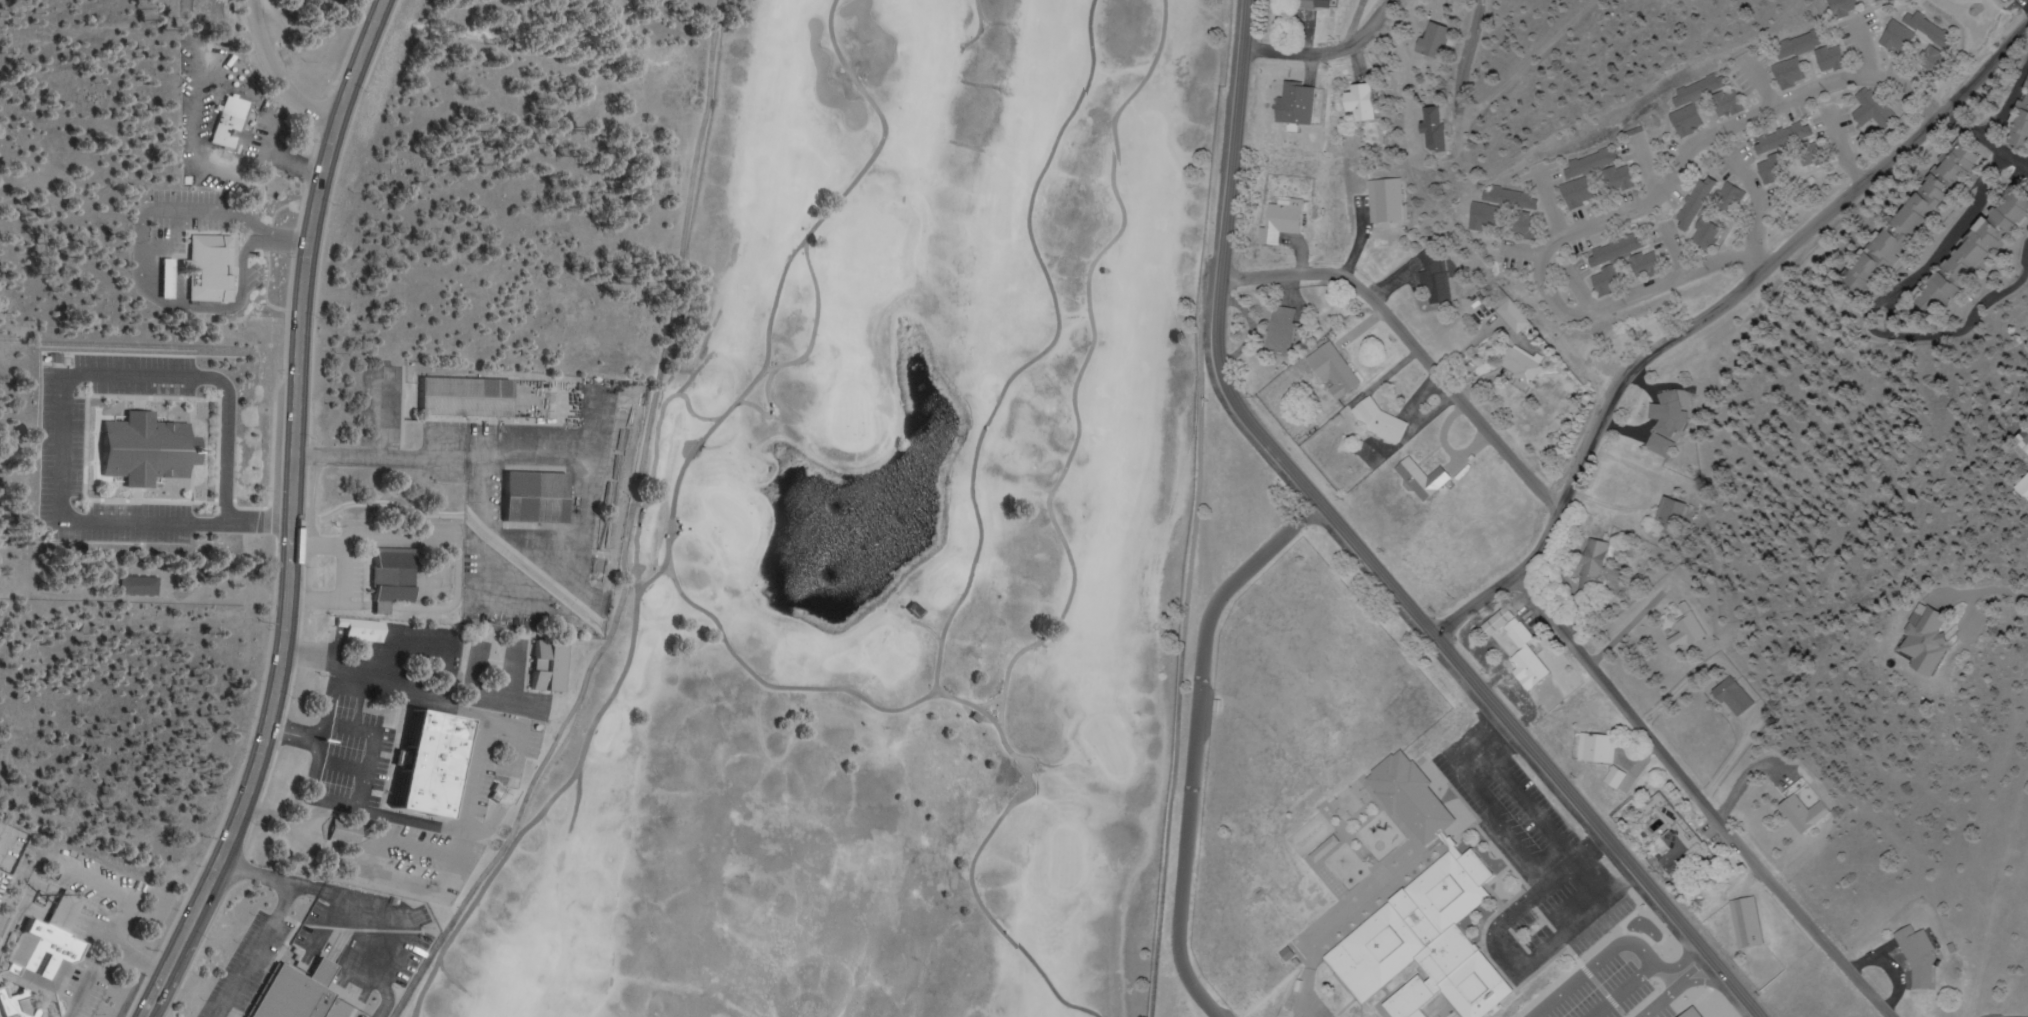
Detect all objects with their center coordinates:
building: (2012, 0)
building: (1884, 1)
building: (1310, 4)
building: (1845, 7)
building: (1931, 30)
building: (1901, 38)
building: (1437, 40)
building: (1804, 43)
road: (1865, 47)
road: (1327, 51)
building: (1833, 59)
building: (1937, 63)
road: (1460, 69)
road: (278, 73)
building: (1792, 73)
road: (1759, 81)
road: (2009, 102)
building: (1298, 103)
building: (1363, 103)
building: (1694, 103)
building: (1729, 104)
building: (1877, 110)
building: (2019, 122)
building: (1440, 129)
building: (240, 135)
building: (1789, 139)
road: (1983, 139)
road: (1838, 147)
building: (1817, 154)
building: (1591, 163)
road: (1648, 168)
building: (1777, 169)
building: (1623, 179)
road: (851, 186)
building: (1581, 193)
building: (1514, 198)
building: (1734, 198)
building: (1387, 201)
road: (1549, 203)
road: (1761, 207)
road: (1632, 214)
building: (1489, 217)
building: (1907, 218)
building: (1284, 222)
building: (1533, 226)
building: (1973, 248)
building: (1626, 251)
building: (1654, 266)
building: (216, 267)
building: (1435, 277)
building: (172, 279)
building: (1615, 281)
road: (1873, 312)
road: (1708, 313)
building: (1517, 317)
building: (1289, 330)
road: (1414, 348)
road: (1044, 352)
road: (1220, 356)
building: (1527, 365)
building: (1338, 371)
building: (469, 397)
road: (771, 407)
building: (1662, 422)
building: (2023, 441)
building: (148, 449)
road: (657, 462)
building: (1427, 479)
building: (2021, 489)
building: (537, 497)
road: (1199, 508)
building: (1666, 512)
road: (294, 515)
road: (630, 533)
park: (895, 542)
road: (1067, 542)
building: (1598, 566)
building: (396, 578)
building: (139, 585)
road: (1984, 593)
building: (920, 610)
road: (637, 624)
building: (1678, 629)
building: (366, 631)
building: (1918, 642)
building: (1524, 649)
building: (551, 665)
road: (814, 689)
building: (1727, 697)
road: (988, 703)
road: (1198, 743)
building: (1602, 746)
building: (433, 763)
building: (1620, 776)
building: (508, 791)
road: (1700, 800)
road: (1602, 824)
building: (350, 830)
building: (1687, 845)
road: (1597, 878)
building: (1429, 919)
building: (1752, 922)
building: (46, 948)
building: (1918, 956)
park: (1183, 989)
building: (298, 994)
building: (1584, 1012)

